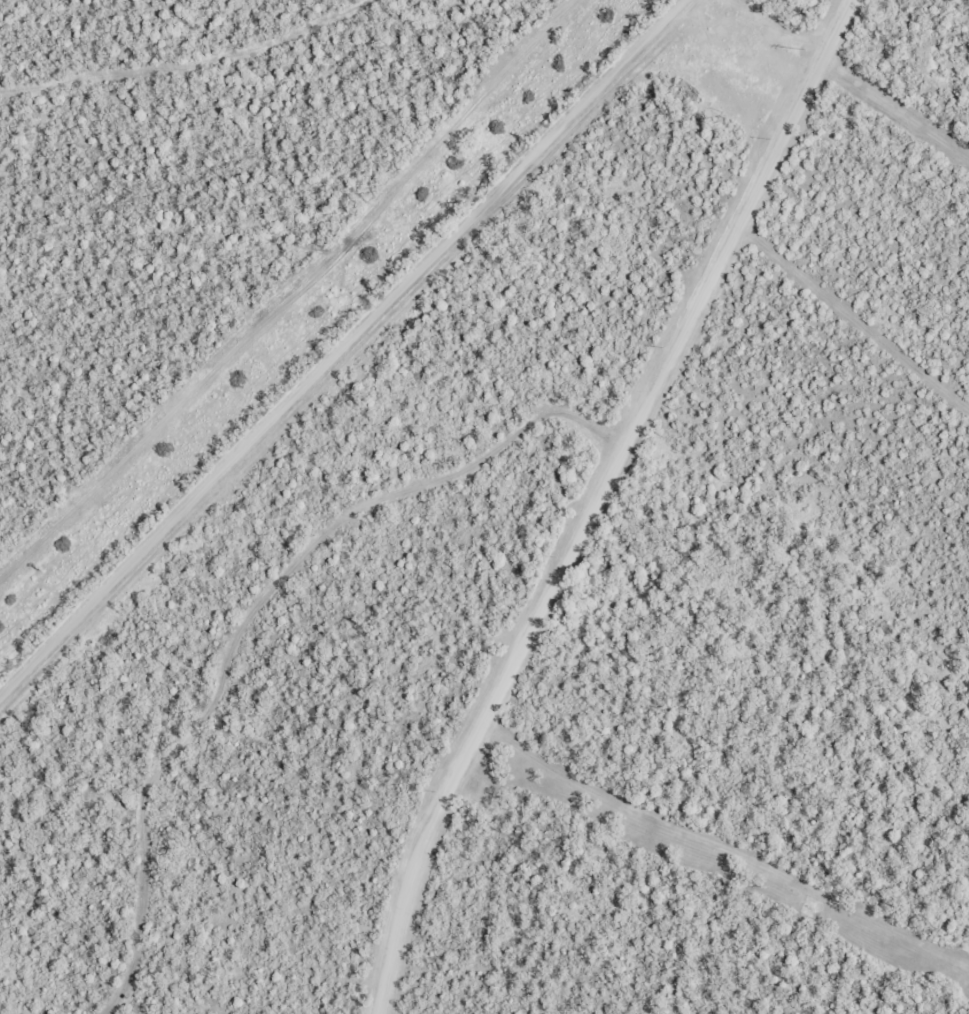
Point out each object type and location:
power tower: (802, 47)
road: (362, 360)
road: (614, 503)

